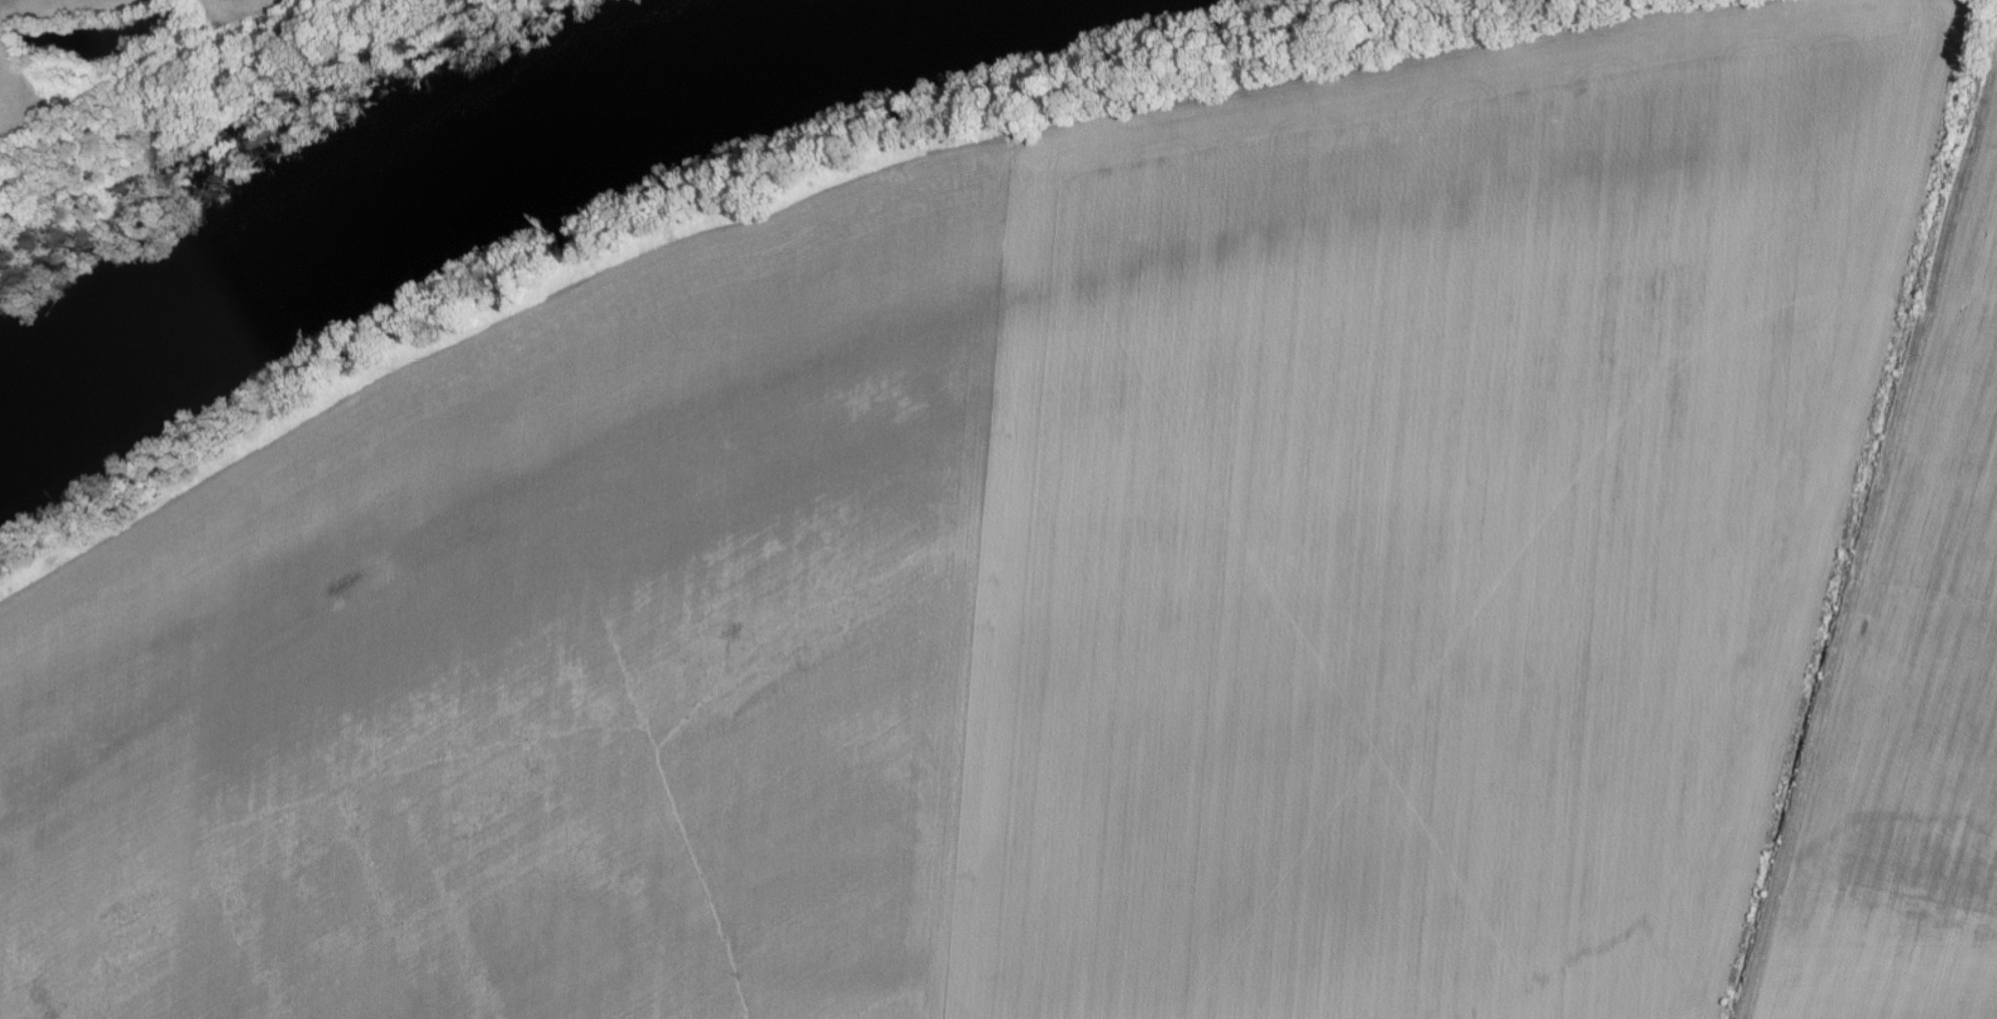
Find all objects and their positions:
river: (412, 163)

